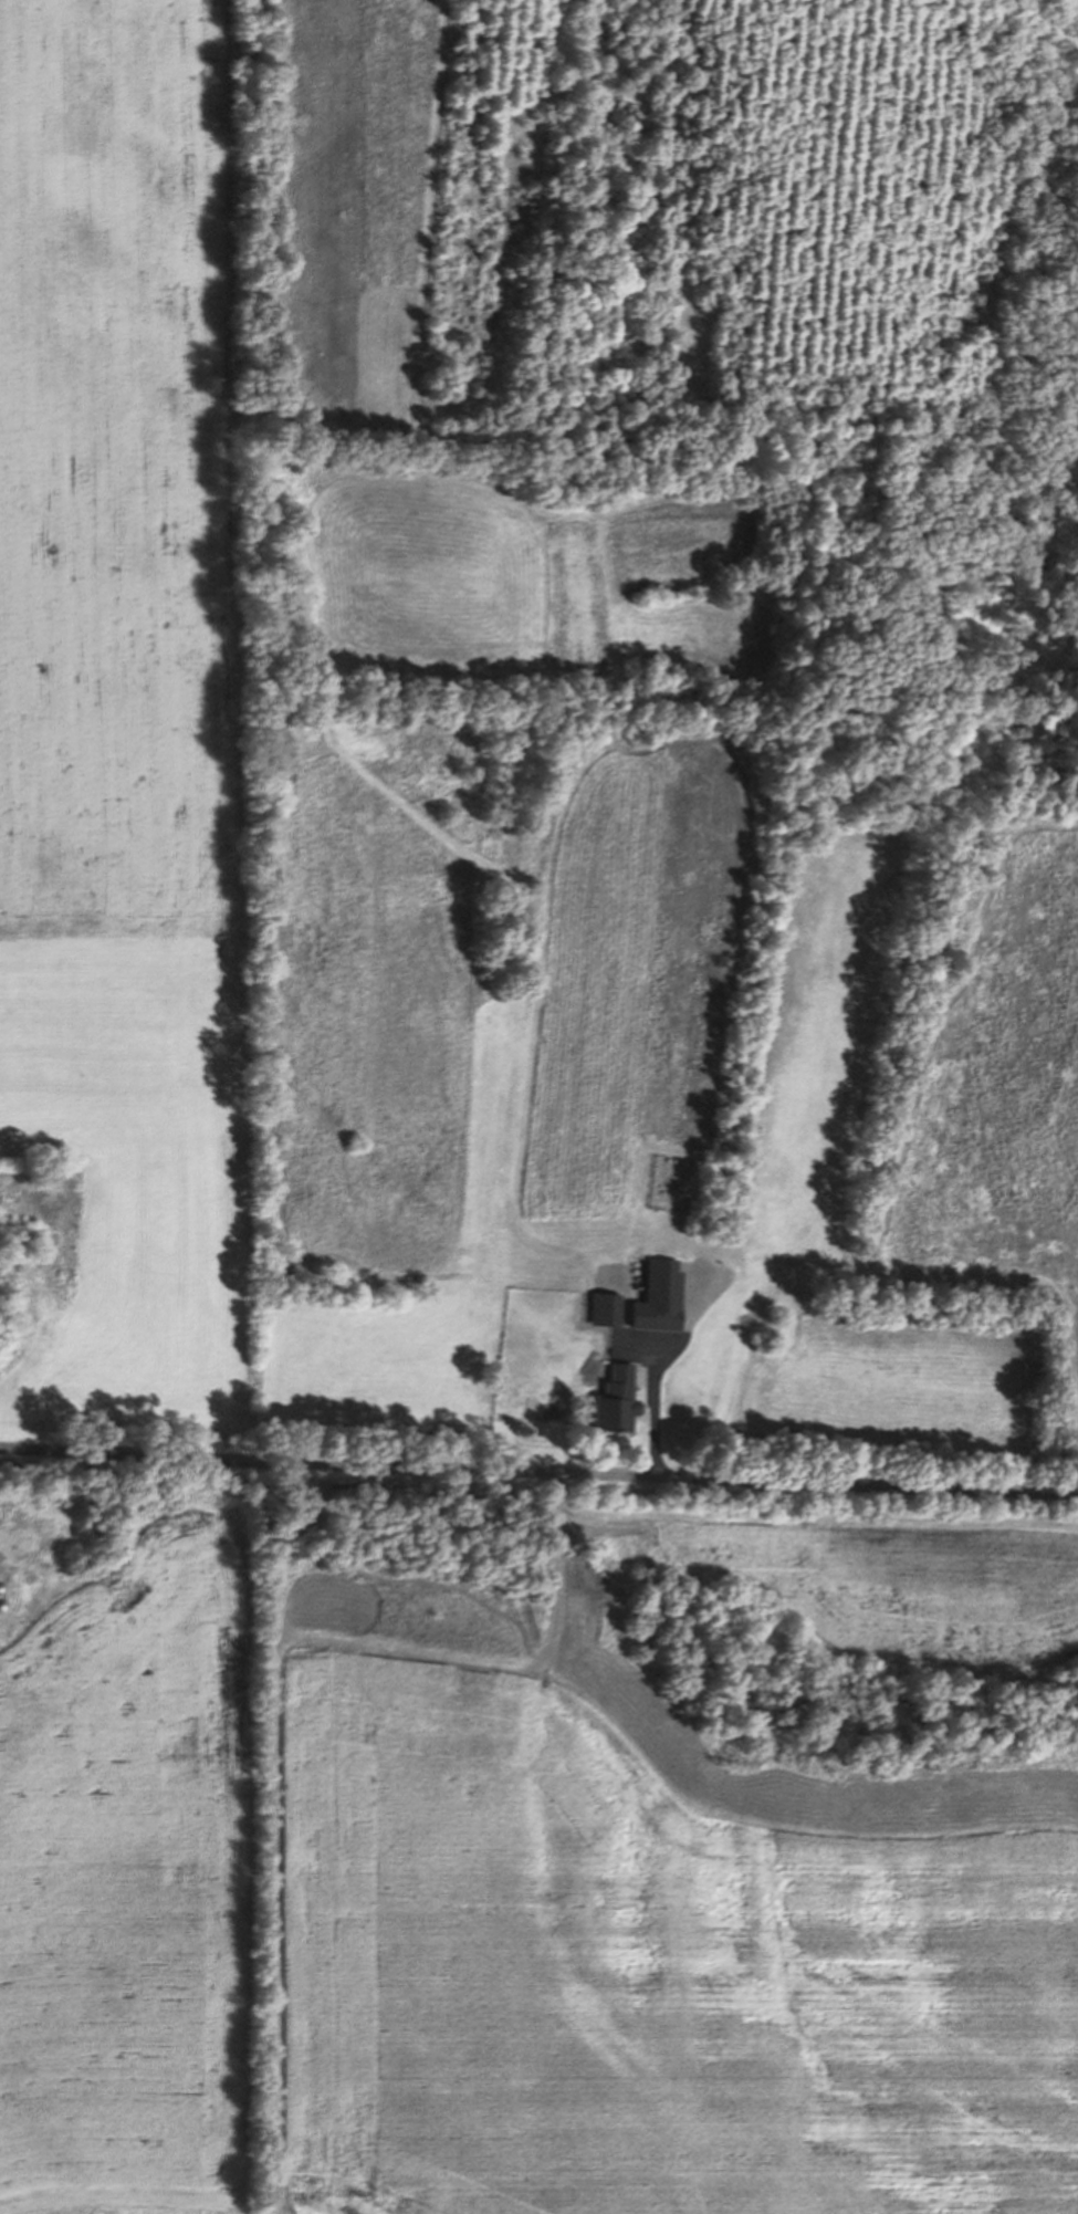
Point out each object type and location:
building: (658, 1187)
building: (656, 1296)
building: (603, 1308)
building: (610, 1400)
road: (653, 1407)
road: (538, 1469)

